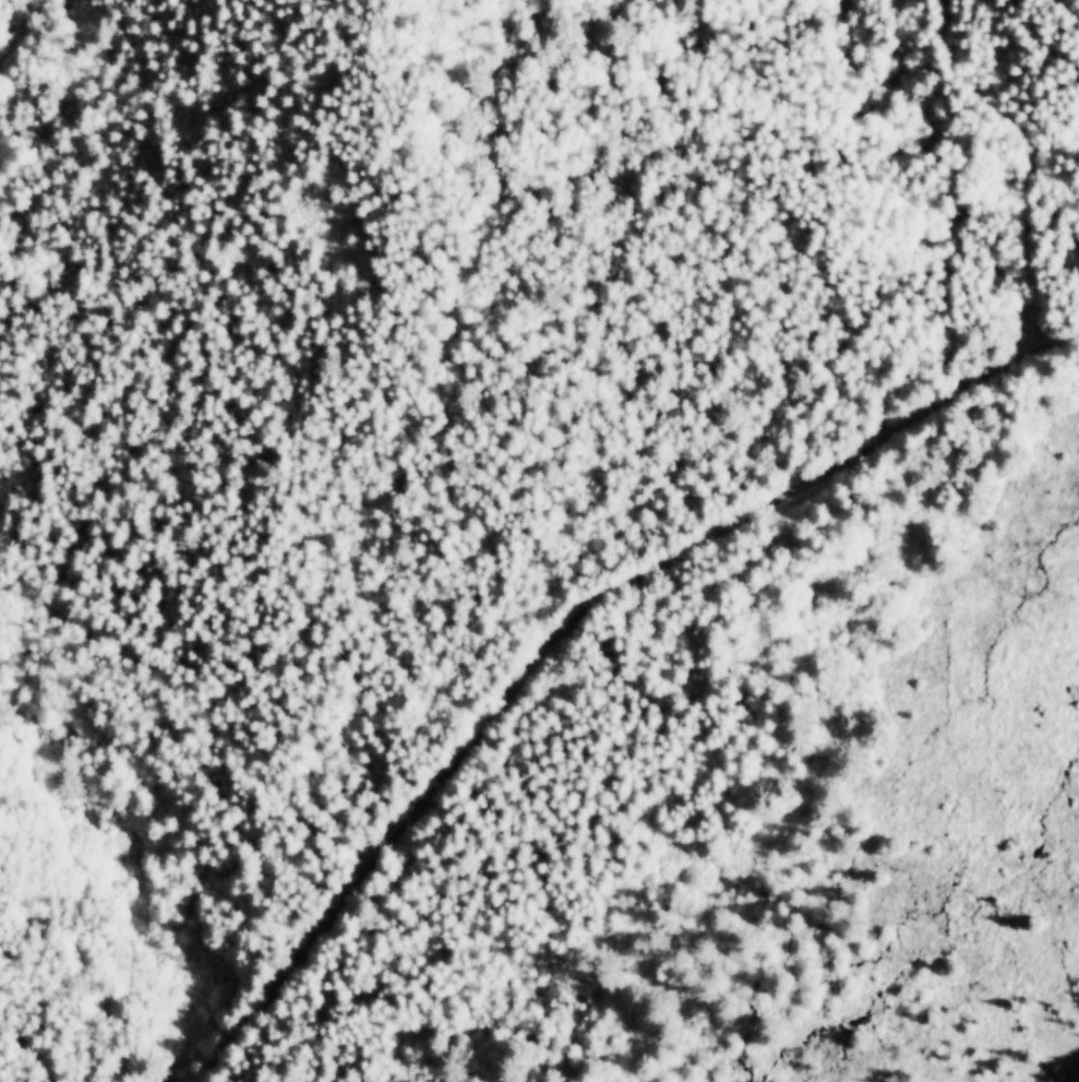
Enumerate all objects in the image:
road: (974, 107)
road: (1031, 246)
road: (816, 414)

